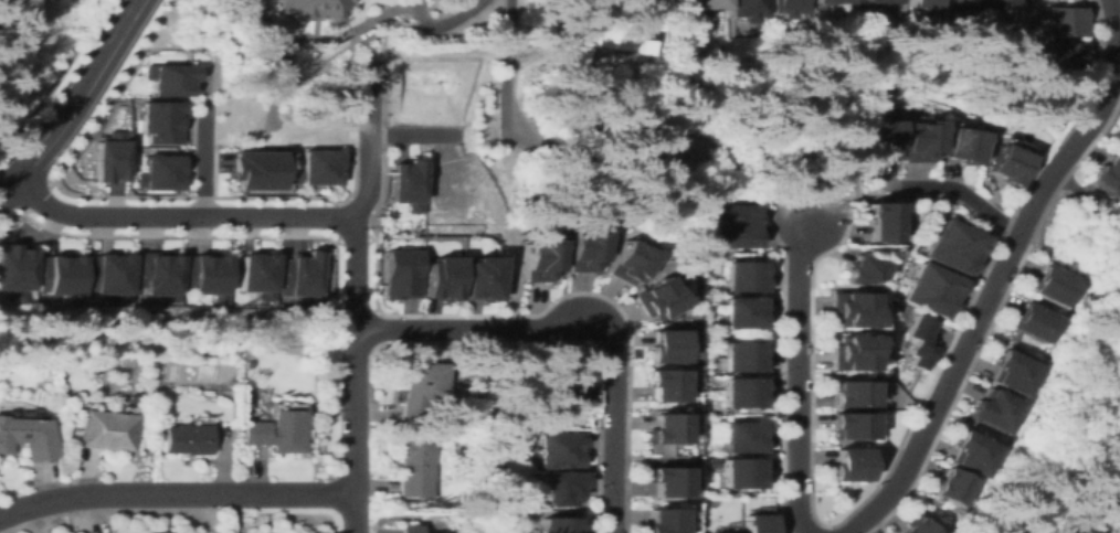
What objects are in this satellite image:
building: (836, 1)
building: (881, 1)
building: (706, 2)
building: (921, 3)
building: (963, 3)
building: (996, 3)
building: (315, 8)
building: (752, 8)
building: (792, 9)
road: (440, 21)
building: (1061, 21)
building: (628, 28)
building: (573, 44)
road: (1118, 50)
building: (1061, 54)
road: (509, 56)
building: (184, 76)
road: (55, 77)
road: (72, 97)
building: (162, 121)
road: (415, 137)
building: (878, 138)
building: (917, 139)
road: (369, 140)
building: (958, 146)
building: (678, 149)
building: (1112, 149)
road: (201, 158)
building: (112, 161)
building: (1005, 163)
building: (320, 168)
building: (257, 170)
building: (167, 173)
building: (1110, 175)
building: (405, 186)
road: (964, 194)
road: (115, 196)
road: (176, 215)
building: (876, 221)
building: (731, 226)
building: (951, 246)
building: (583, 250)
building: (539, 260)
building: (626, 263)
building: (863, 270)
building: (18, 271)
road: (353, 273)
road: (999, 273)
building: (261, 274)
building: (63, 275)
building: (398, 275)
building: (746, 275)
building: (113, 276)
building: (161, 276)
building: (304, 276)
building: (210, 277)
building: (441, 279)
building: (482, 279)
building: (1054, 286)
building: (930, 289)
building: (656, 299)
building: (847, 309)
road: (994, 310)
building: (746, 311)
building: (1036, 322)
road: (553, 329)
road: (435, 330)
building: (918, 343)
building: (663, 347)
building: (848, 353)
building: (746, 356)
building: (249, 363)
building: (1016, 372)
road: (797, 377)
building: (572, 381)
building: (664, 385)
building: (422, 390)
building: (746, 392)
building: (847, 394)
building: (997, 409)
road: (612, 424)
building: (847, 426)
building: (666, 429)
building: (107, 430)
road: (355, 430)
building: (277, 431)
building: (27, 437)
building: (746, 437)
building: (187, 439)
building: (560, 449)
building: (976, 455)
building: (664, 460)
building: (847, 466)
building: (414, 467)
building: (746, 473)
building: (666, 481)
building: (954, 487)
building: (562, 488)
road: (176, 492)
building: (663, 521)
building: (759, 523)
building: (561, 525)
building: (916, 525)
building: (410, 529)
building: (160, 532)
building: (719, 532)

